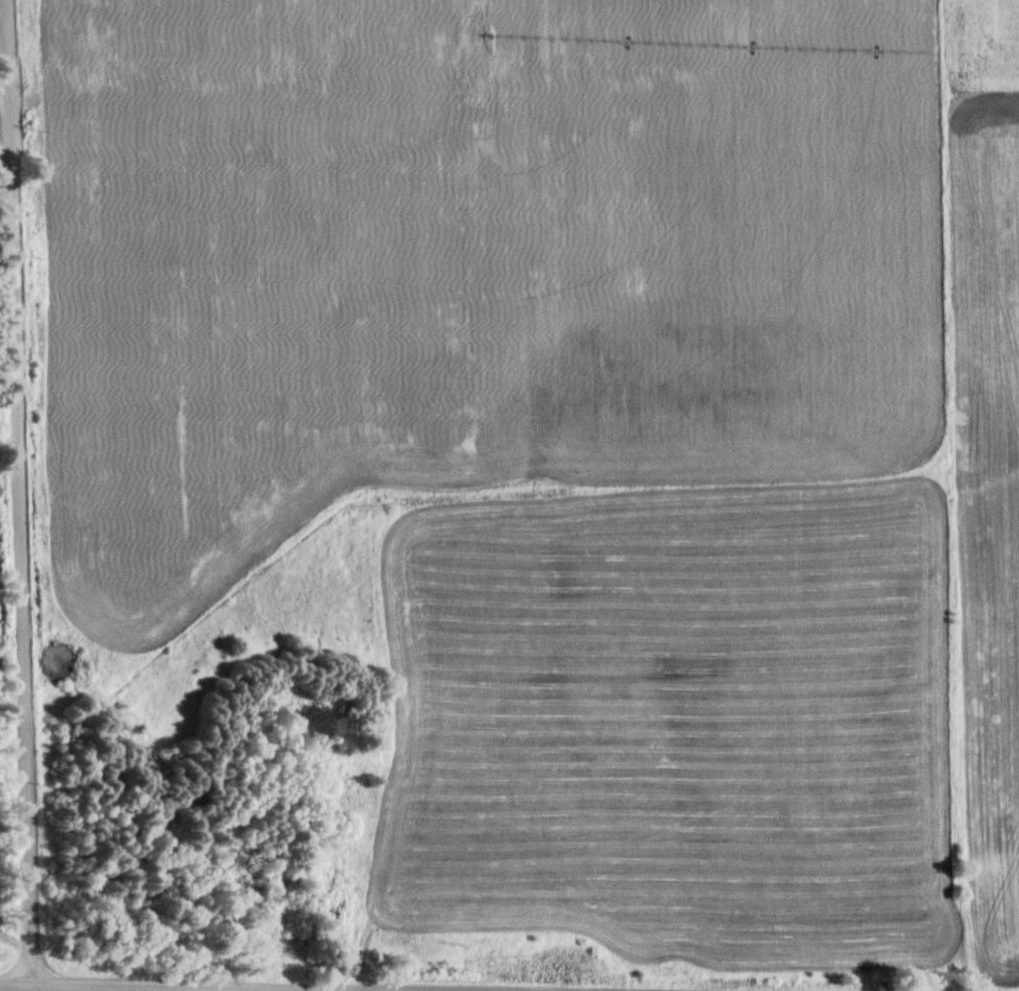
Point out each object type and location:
road: (16, 491)
road: (14, 981)
road: (210, 986)

